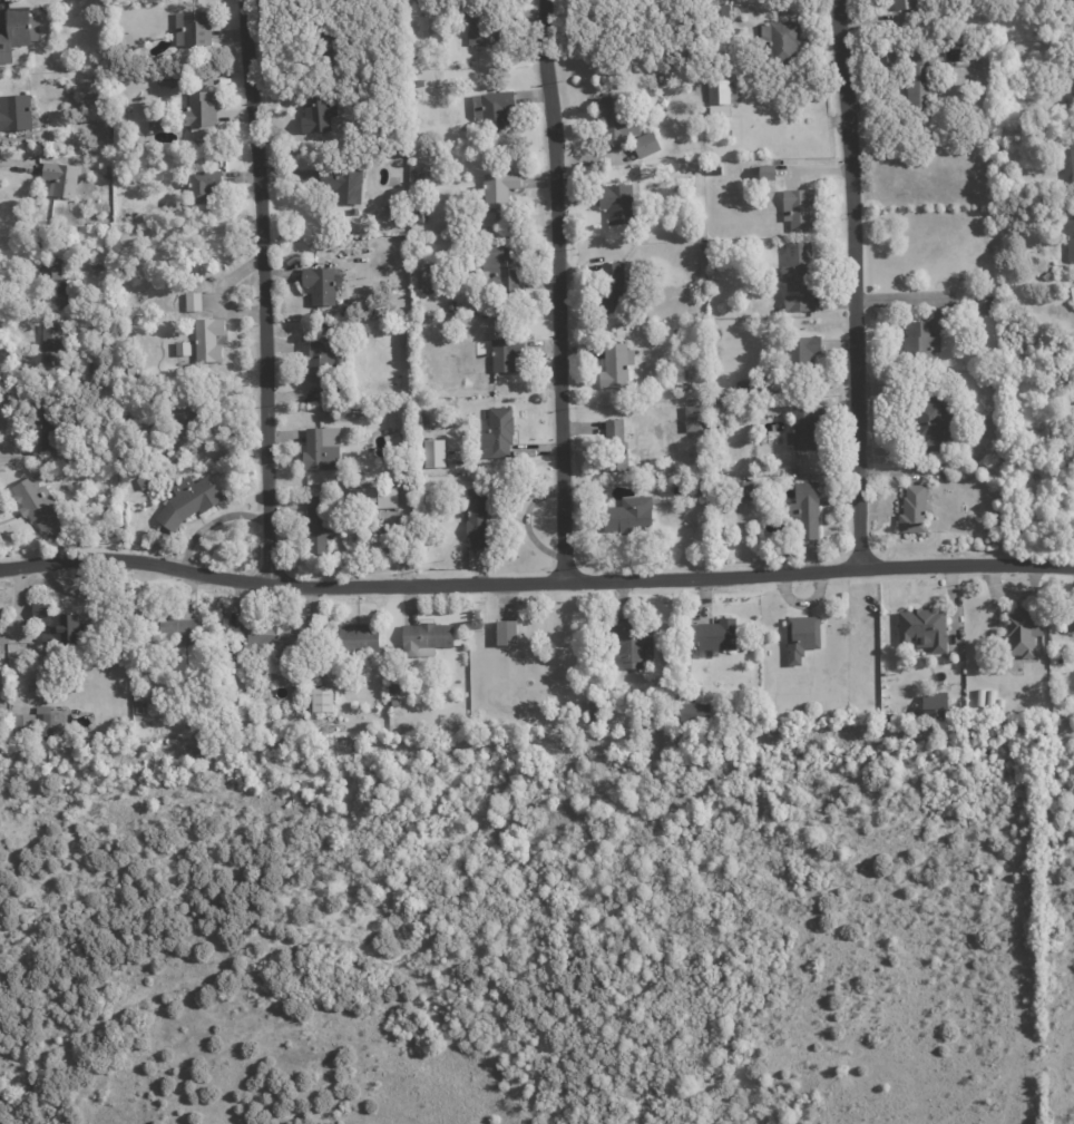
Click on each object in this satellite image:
building: (421, 1)
building: (1068, 2)
building: (905, 3)
building: (720, 11)
building: (477, 22)
building: (191, 28)
building: (19, 32)
building: (780, 40)
building: (328, 47)
building: (895, 56)
building: (618, 68)
building: (4, 69)
building: (1073, 74)
building: (170, 80)
building: (658, 80)
building: (920, 82)
building: (419, 84)
building: (717, 98)
building: (662, 106)
building: (491, 109)
building: (197, 110)
building: (18, 113)
building: (315, 114)
building: (614, 121)
building: (152, 125)
building: (393, 144)
building: (644, 145)
building: (1072, 156)
building: (646, 172)
building: (765, 172)
building: (427, 175)
building: (64, 179)
building: (342, 185)
building: (201, 186)
building: (496, 188)
building: (618, 202)
building: (798, 209)
building: (353, 212)
building: (385, 215)
building: (485, 217)
building: (421, 218)
building: (1070, 240)
building: (500, 267)
building: (1047, 276)
building: (795, 277)
building: (58, 278)
road: (857, 278)
building: (320, 284)
road: (558, 286)
building: (611, 287)
road: (261, 289)
building: (1072, 292)
building: (192, 302)
building: (475, 303)
building: (984, 305)
building: (451, 306)
building: (349, 313)
building: (1002, 313)
building: (401, 328)
building: (715, 334)
building: (927, 334)
building: (207, 340)
building: (55, 348)
building: (180, 349)
building: (797, 350)
building: (505, 354)
building: (321, 364)
building: (615, 365)
building: (130, 370)
building: (1039, 375)
building: (684, 388)
building: (357, 411)
building: (723, 411)
building: (693, 418)
building: (191, 419)
building: (421, 421)
building: (931, 424)
building: (45, 427)
building: (803, 429)
building: (497, 433)
building: (330, 437)
building: (391, 440)
building: (759, 441)
building: (997, 447)
building: (614, 450)
building: (319, 451)
building: (431, 452)
building: (363, 476)
building: (344, 480)
building: (145, 481)
building: (696, 482)
building: (742, 490)
building: (374, 497)
building: (192, 500)
building: (40, 504)
building: (805, 510)
building: (912, 510)
building: (108, 512)
building: (628, 516)
building: (476, 519)
building: (316, 526)
road: (535, 574)
building: (1070, 620)
building: (61, 623)
building: (922, 628)
building: (177, 631)
building: (506, 633)
building: (1022, 633)
building: (268, 636)
building: (715, 636)
building: (426, 638)
building: (800, 638)
building: (350, 643)
building: (629, 646)
building: (226, 649)
building: (653, 684)
building: (394, 691)
building: (719, 691)
building: (140, 697)
building: (978, 698)
building: (322, 700)
building: (989, 700)
building: (934, 701)
building: (999, 703)
building: (393, 704)
building: (593, 712)
building: (801, 713)
building: (693, 714)
building: (760, 715)
building: (721, 720)
building: (315, 722)
building: (36, 724)

